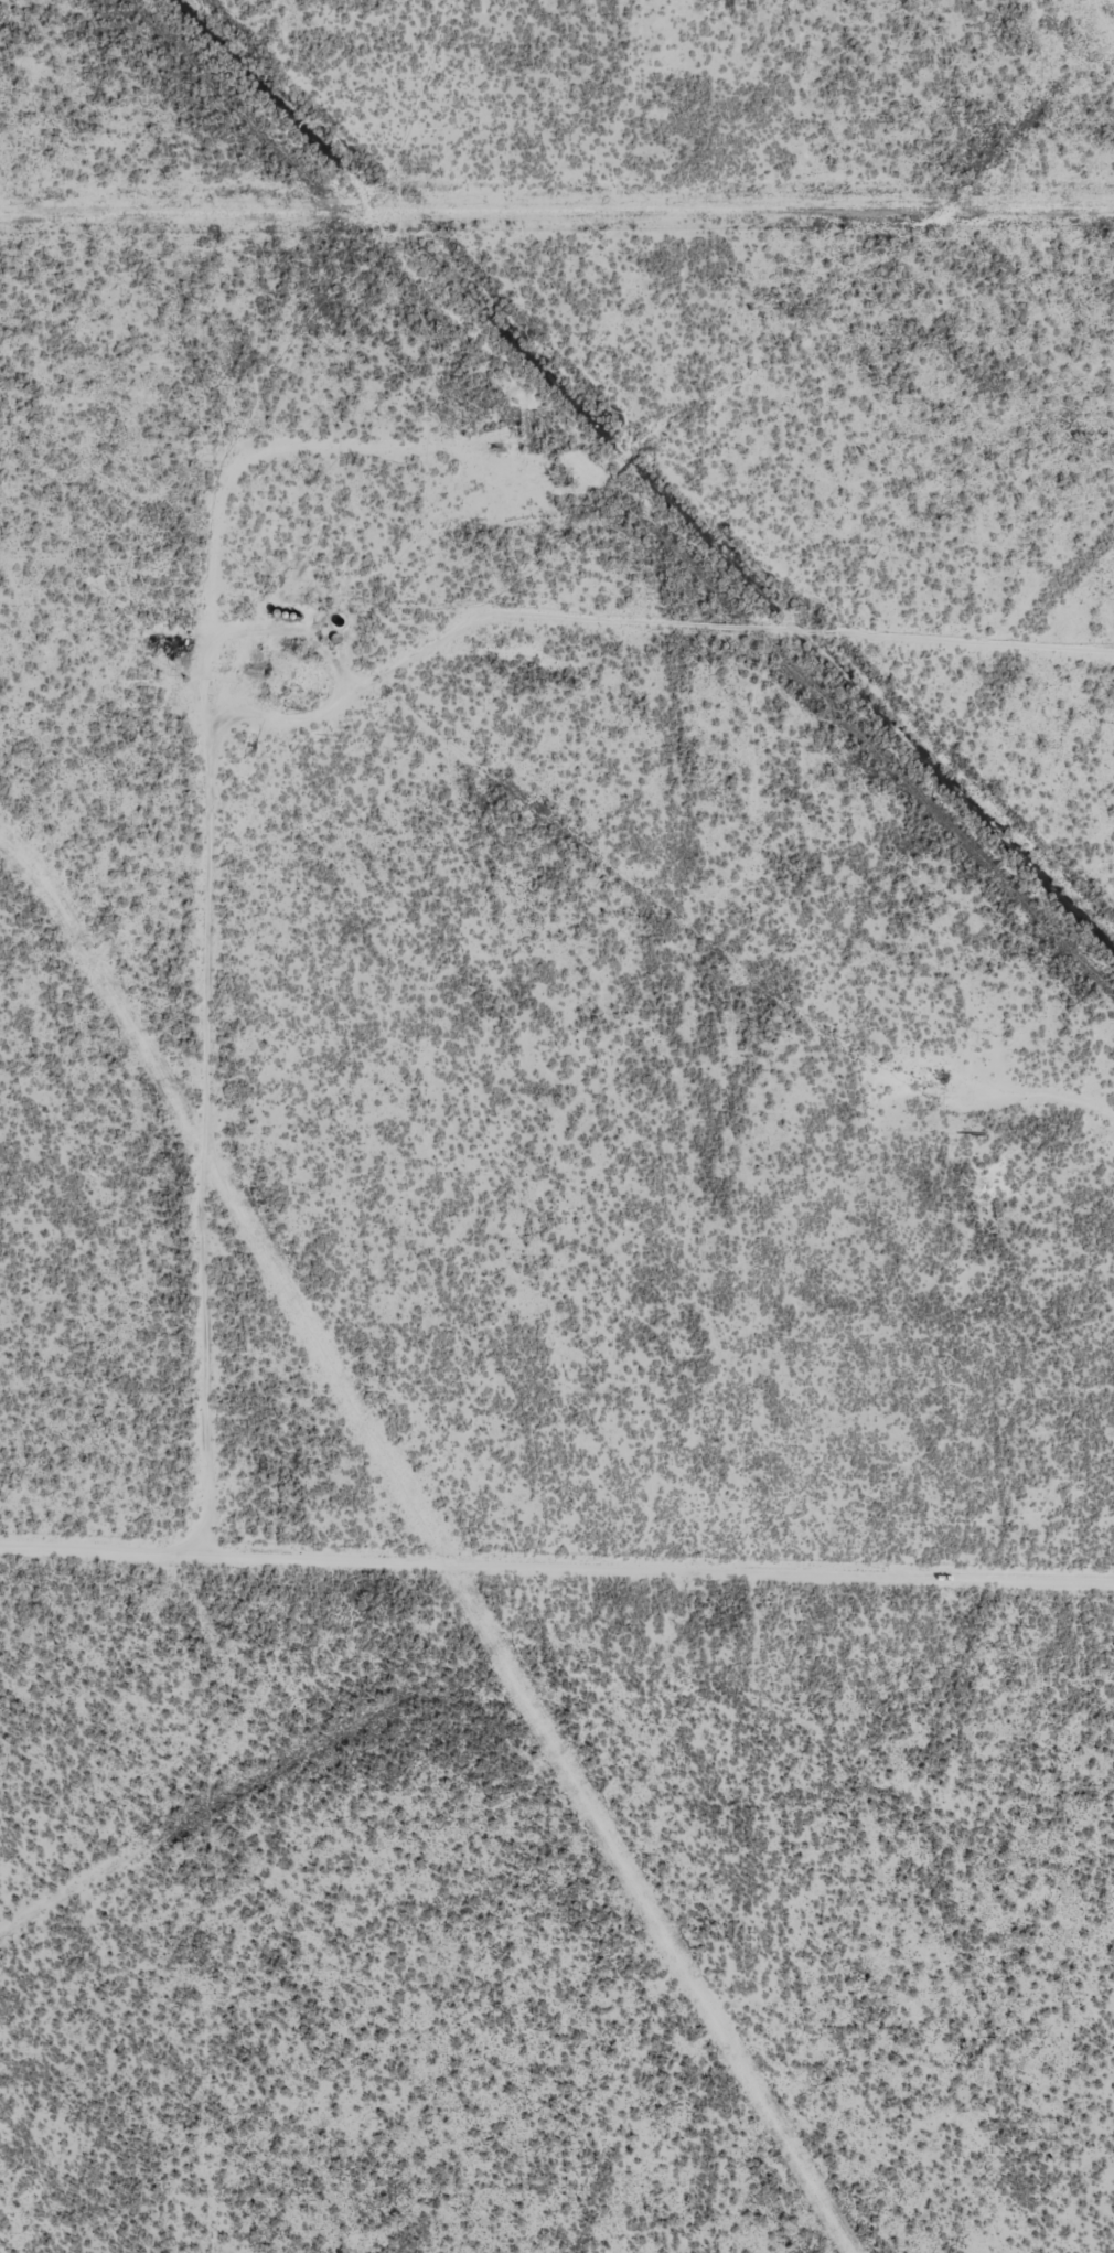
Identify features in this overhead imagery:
road: (557, 1568)

